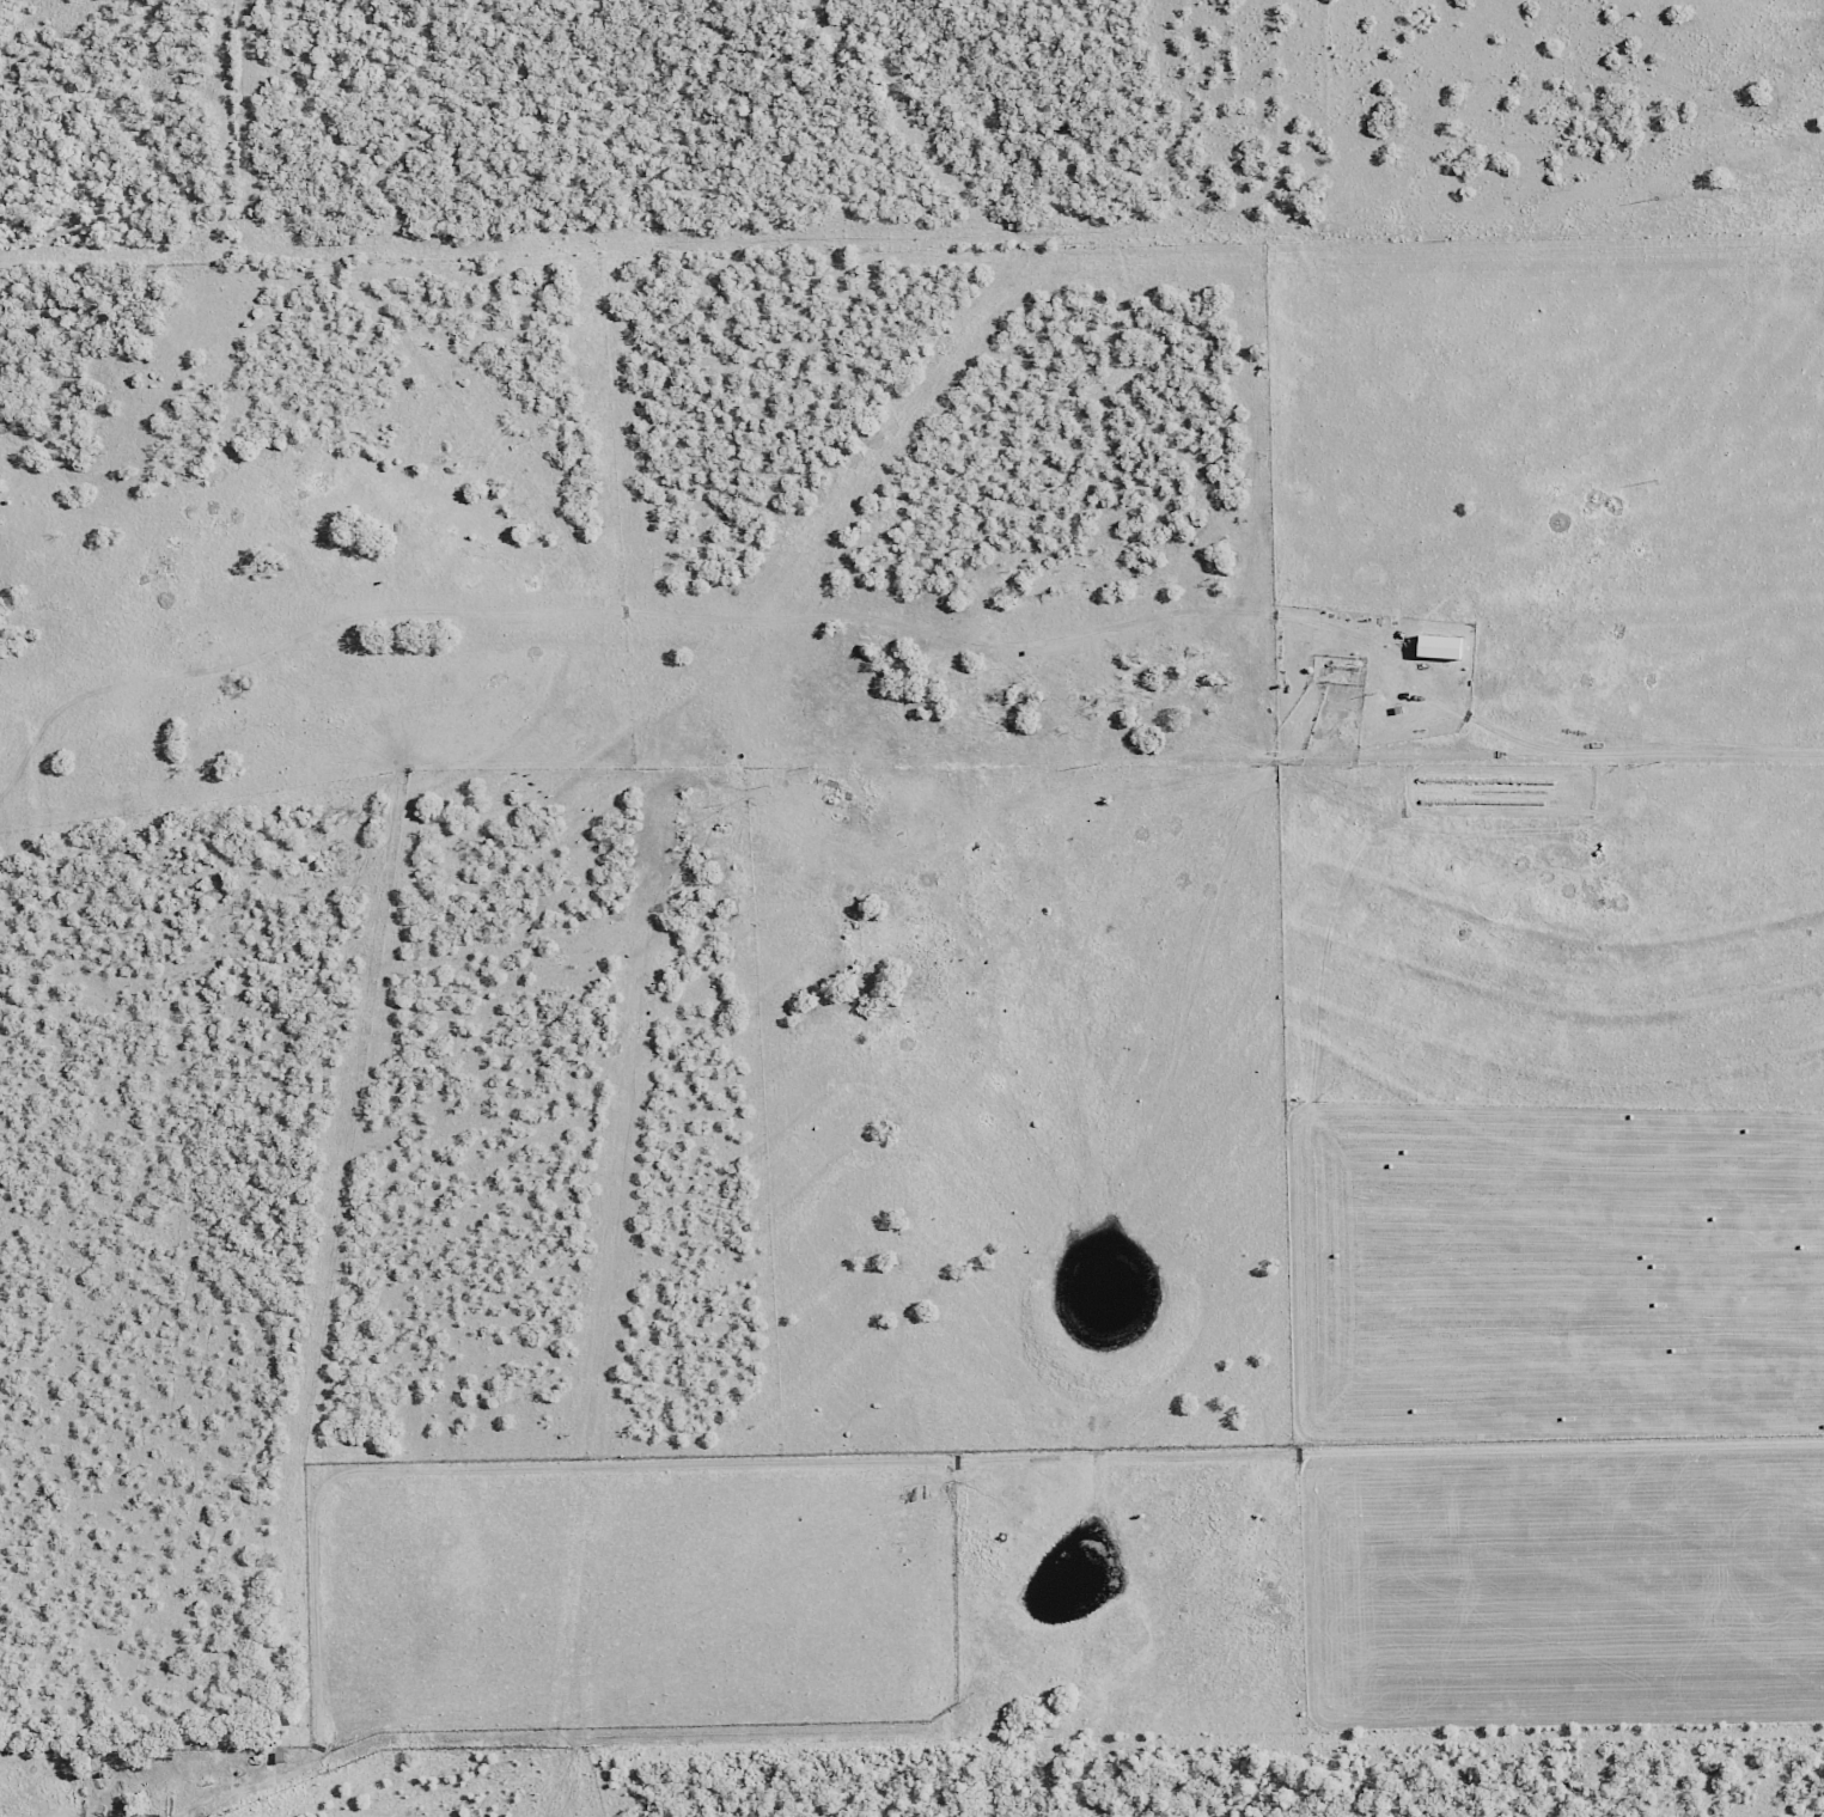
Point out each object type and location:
building: (1436, 646)

